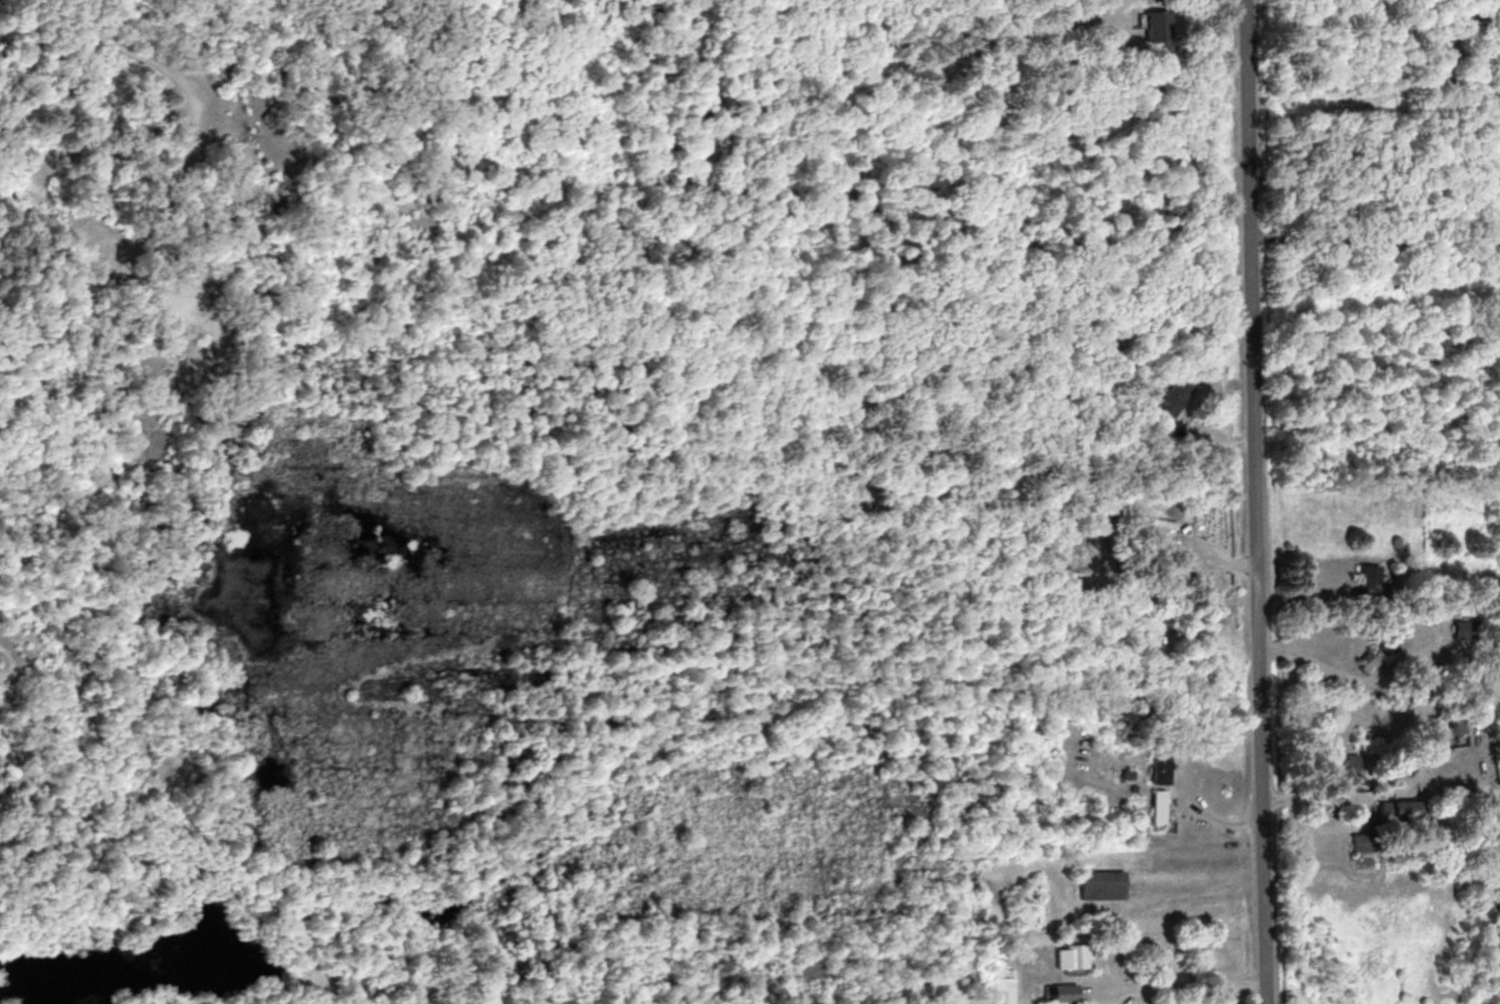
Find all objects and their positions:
road: (1256, 502)
building: (1366, 660)
road: (719, 685)
building: (1151, 767)
building: (1149, 806)
building: (1096, 884)
road: (1107, 941)
building: (1056, 957)
building: (997, 985)
building: (1058, 992)

